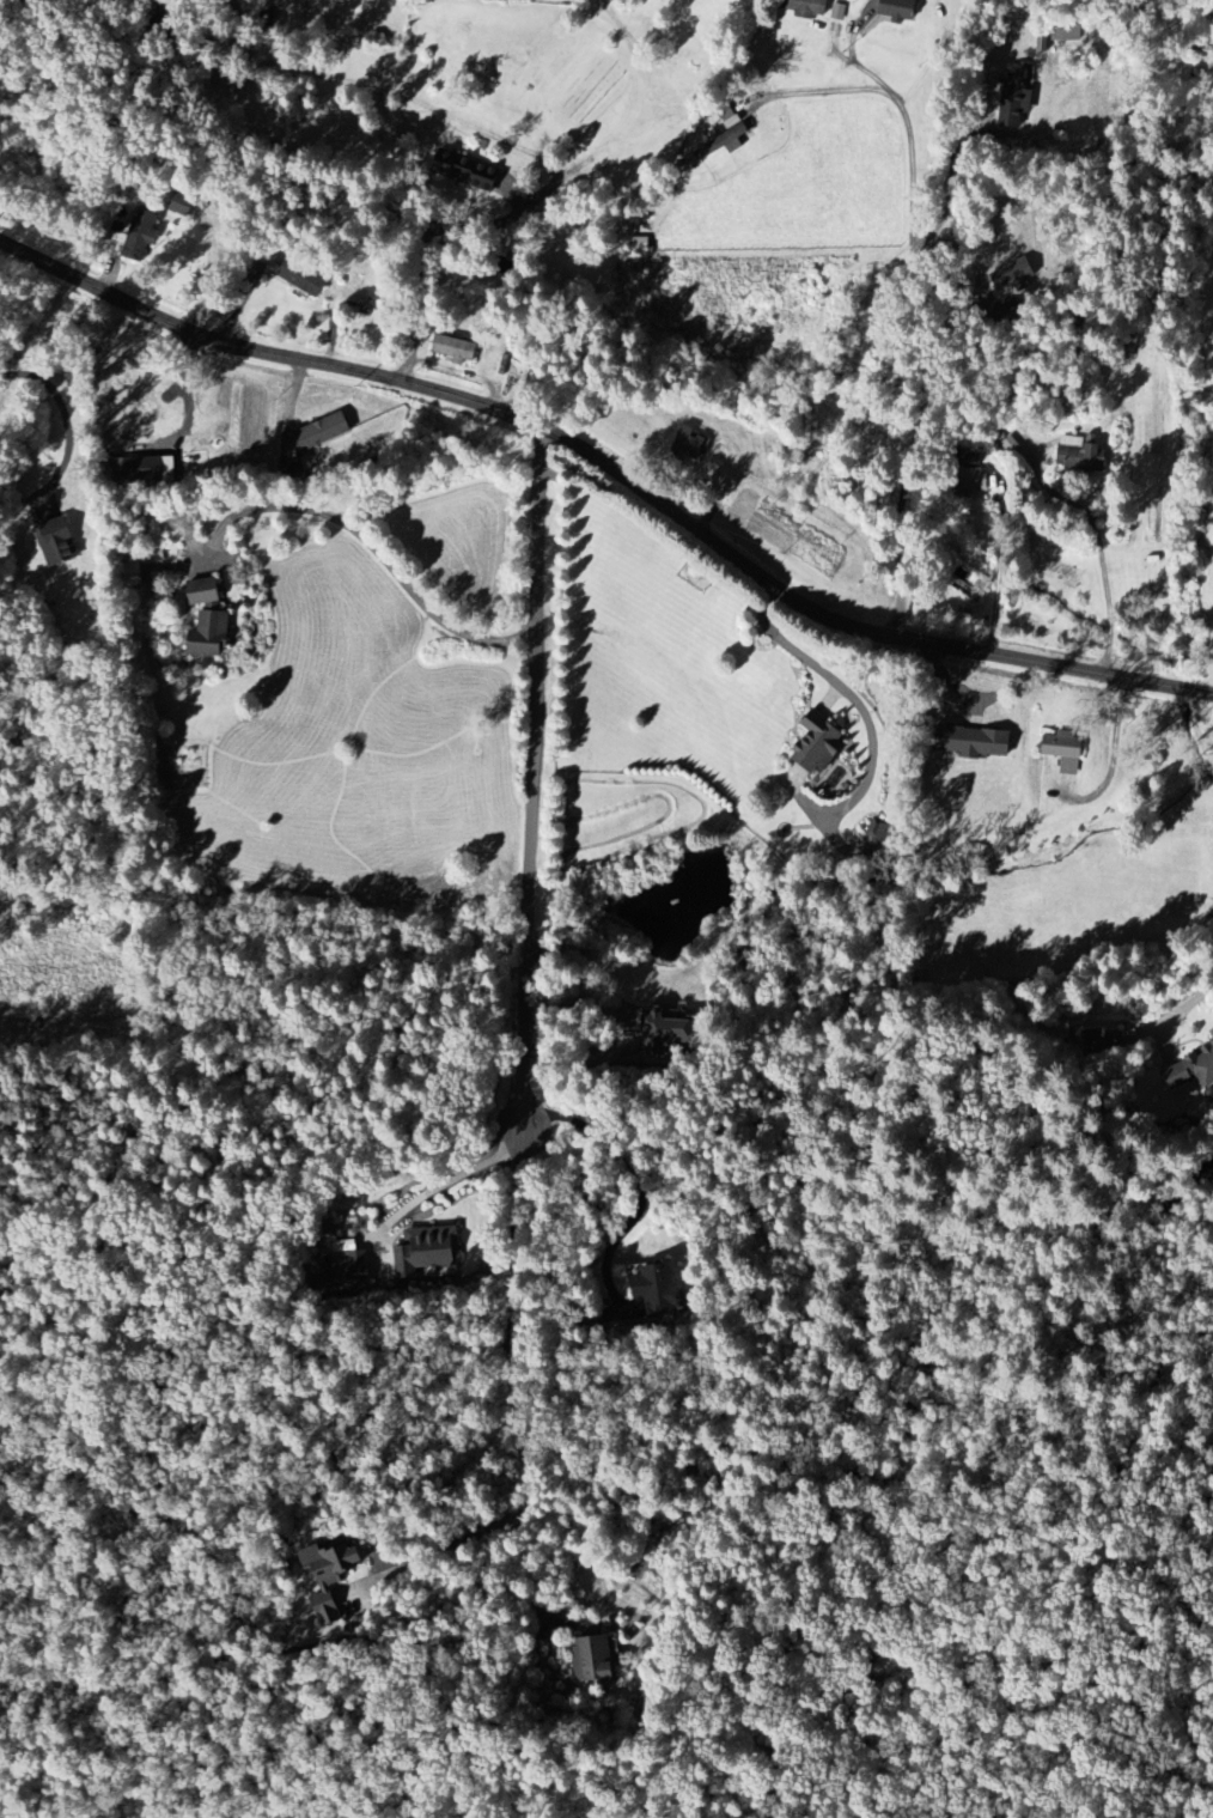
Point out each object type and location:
building: (901, 10)
building: (839, 13)
building: (1066, 35)
road: (859, 67)
building: (1017, 95)
building: (725, 139)
building: (467, 171)
road: (435, 231)
building: (141, 235)
building: (1013, 275)
building: (301, 278)
building: (455, 349)
road: (920, 354)
building: (518, 375)
road: (187, 394)
building: (141, 399)
road: (65, 412)
building: (323, 432)
building: (688, 445)
building: (1079, 456)
road: (610, 466)
building: (145, 470)
building: (979, 480)
building: (56, 542)
road: (1099, 543)
road: (372, 545)
road: (999, 566)
building: (973, 588)
building: (205, 591)
building: (211, 634)
road: (852, 694)
building: (977, 743)
building: (819, 744)
building: (1065, 752)
road: (534, 782)
building: (874, 840)
road: (1184, 1010)
building: (664, 1033)
building: (1212, 1033)
building: (1103, 1039)
road: (567, 1063)
building: (1193, 1071)
road: (445, 1181)
road: (628, 1188)
building: (347, 1272)
building: (659, 1289)
road: (519, 1421)
building: (330, 1576)
road: (535, 1581)
building: (591, 1660)

